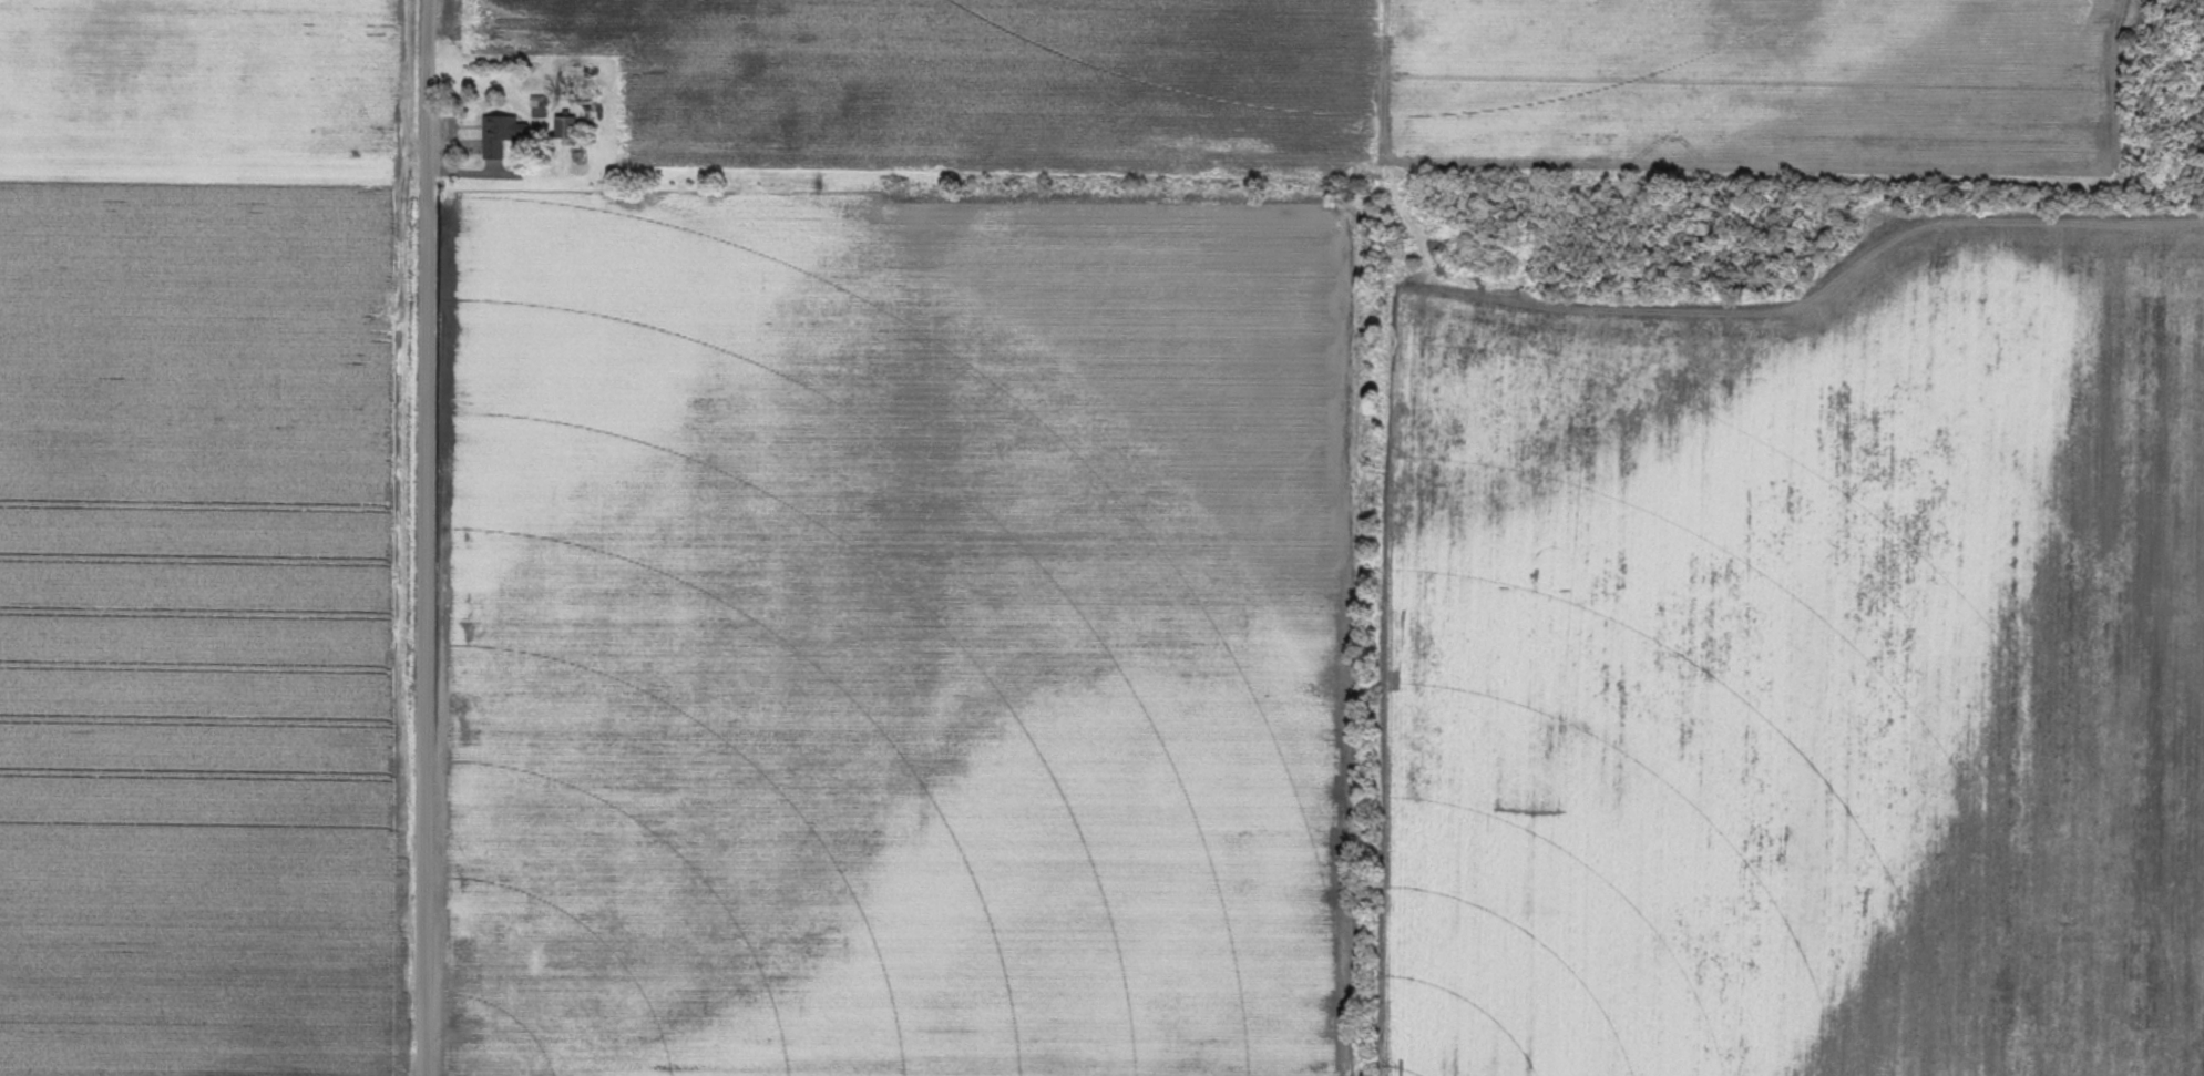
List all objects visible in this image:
building: (574, 79)
building: (537, 104)
building: (503, 125)
building: (565, 125)
road: (454, 145)
road: (1388, 145)
building: (493, 146)
road: (475, 172)
road: (1828, 175)
road: (1815, 294)
road: (1405, 301)
road: (426, 537)

